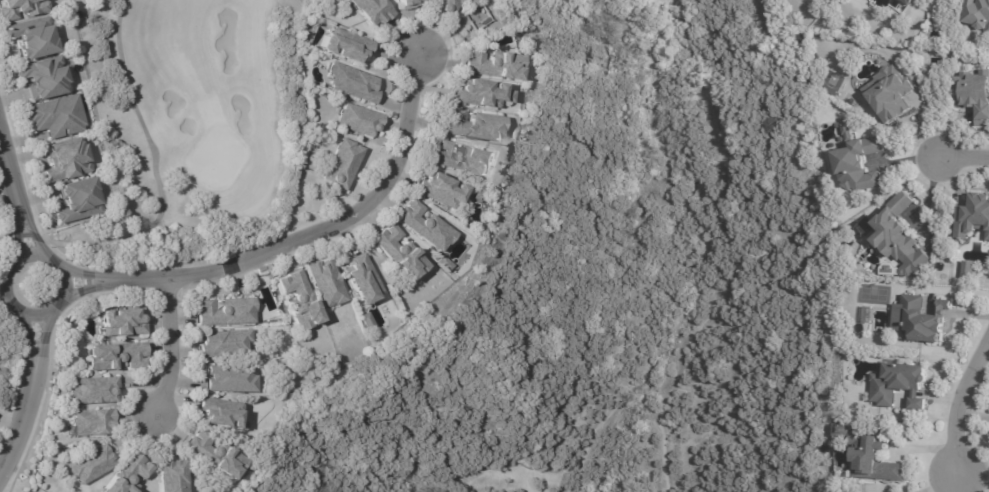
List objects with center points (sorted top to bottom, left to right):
building: (907, 2)
building: (408, 4)
building: (444, 5)
building: (19, 7)
building: (371, 10)
building: (978, 15)
building: (478, 17)
building: (28, 35)
building: (345, 46)
building: (493, 64)
building: (41, 77)
building: (353, 84)
building: (482, 94)
building: (888, 95)
building: (973, 95)
building: (55, 116)
building: (358, 121)
park: (189, 123)
building: (473, 126)
building: (846, 130)
building: (65, 160)
building: (464, 160)
road: (961, 160)
road: (8, 163)
building: (340, 164)
building: (858, 166)
building: (439, 190)
road: (17, 199)
building: (75, 199)
building: (972, 218)
building: (423, 227)
road: (331, 228)
building: (900, 240)
building: (397, 253)
building: (443, 263)
building: (966, 269)
building: (260, 270)
building: (888, 271)
building: (361, 280)
road: (121, 281)
building: (324, 284)
road: (71, 290)
building: (299, 300)
building: (223, 313)
building: (919, 320)
building: (120, 324)
building: (223, 344)
road: (169, 350)
building: (115, 357)
road: (37, 358)
building: (228, 380)
building: (897, 386)
building: (91, 391)
road: (964, 412)
building: (217, 414)
road: (23, 416)
building: (90, 423)
building: (212, 455)
building: (872, 461)
building: (89, 465)
building: (127, 475)
building: (172, 476)
road: (960, 484)

